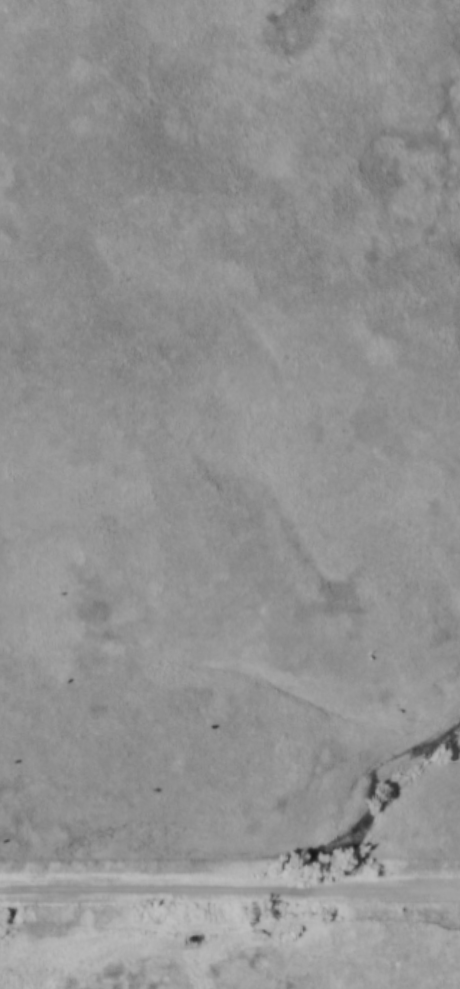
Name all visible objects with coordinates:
road: (229, 894)

